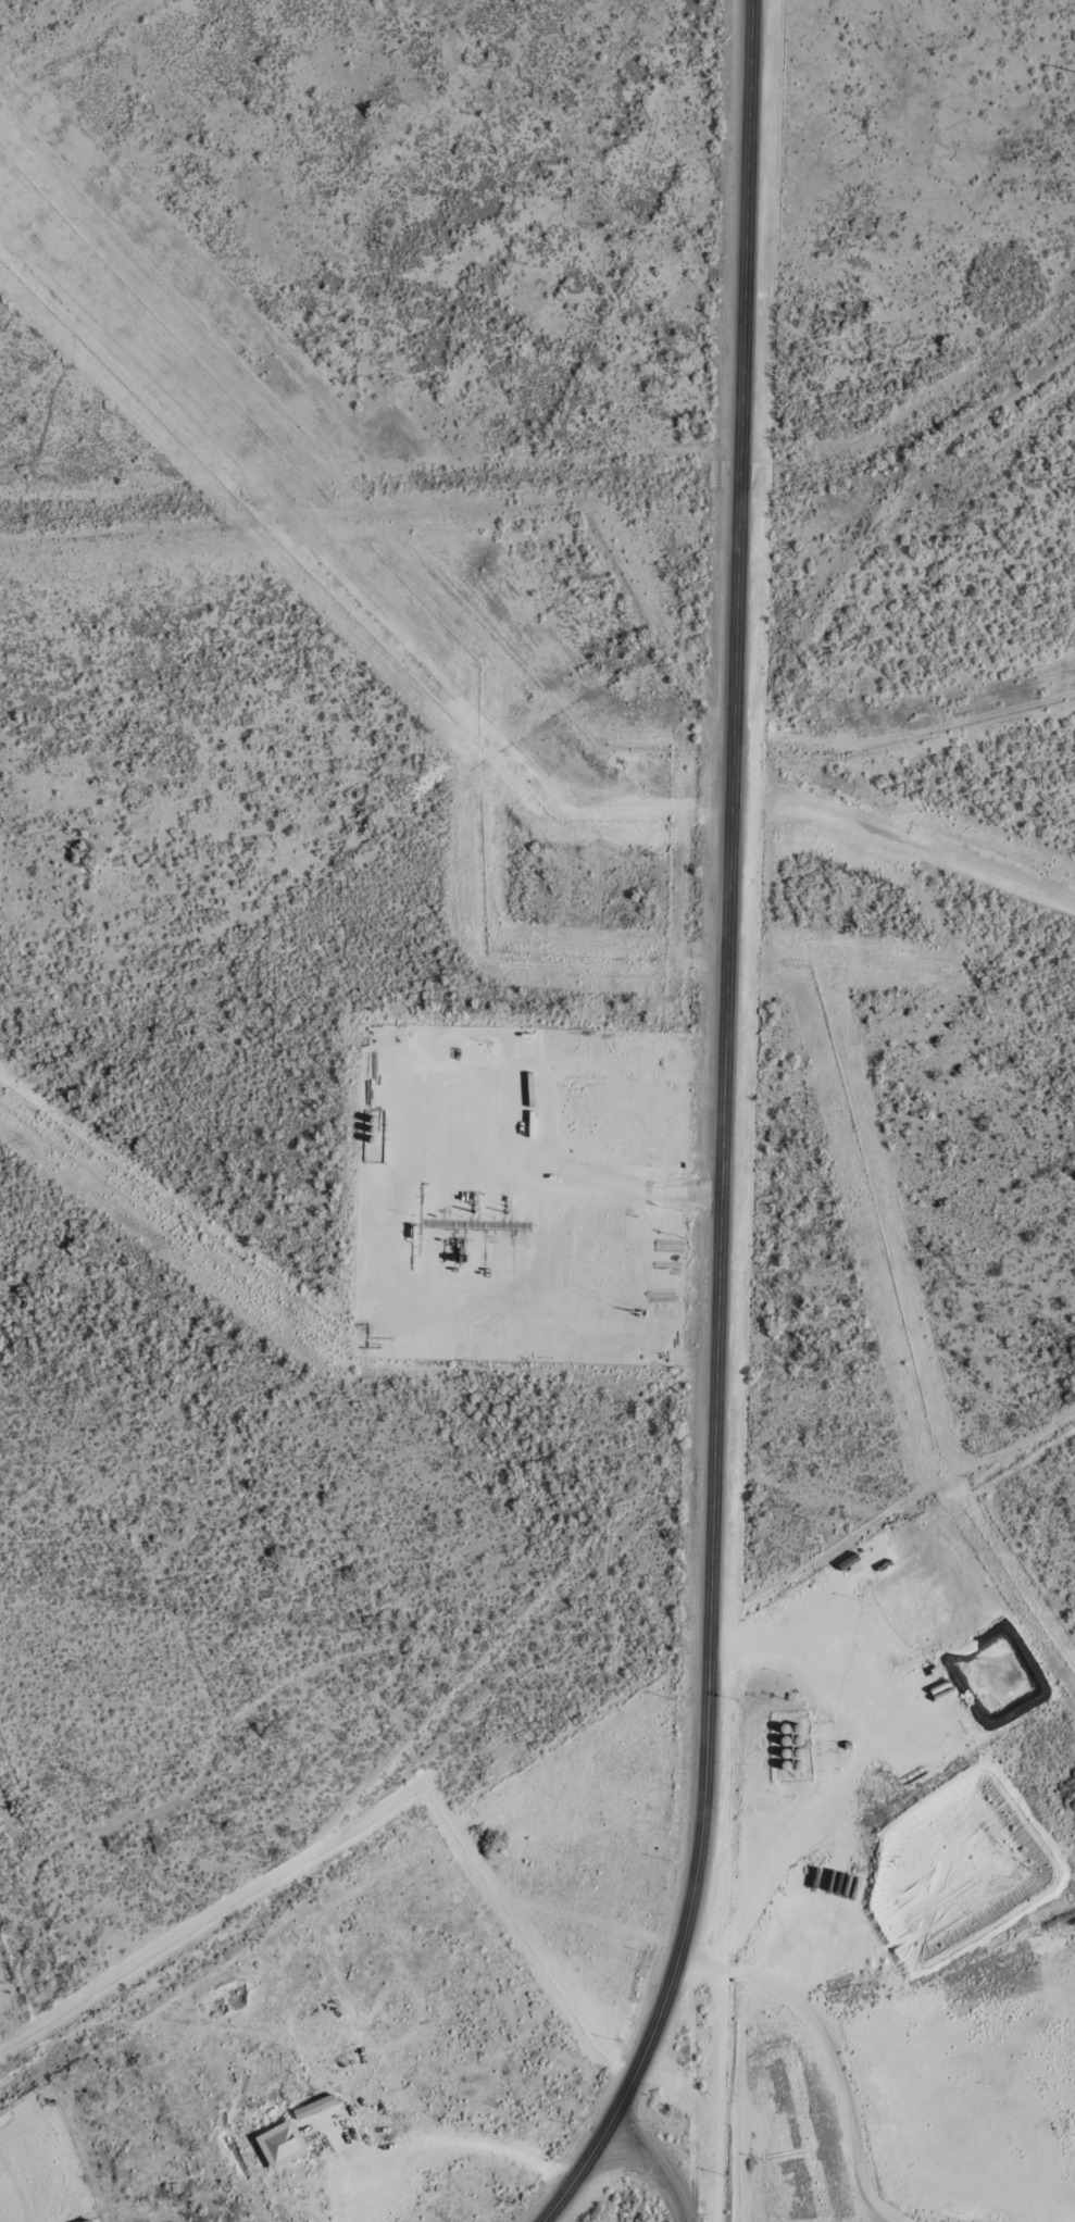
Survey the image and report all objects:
road: (722, 1129)
road: (825, 2048)
building: (312, 2108)
road: (436, 2147)
road: (653, 2168)
building: (87, 2221)

